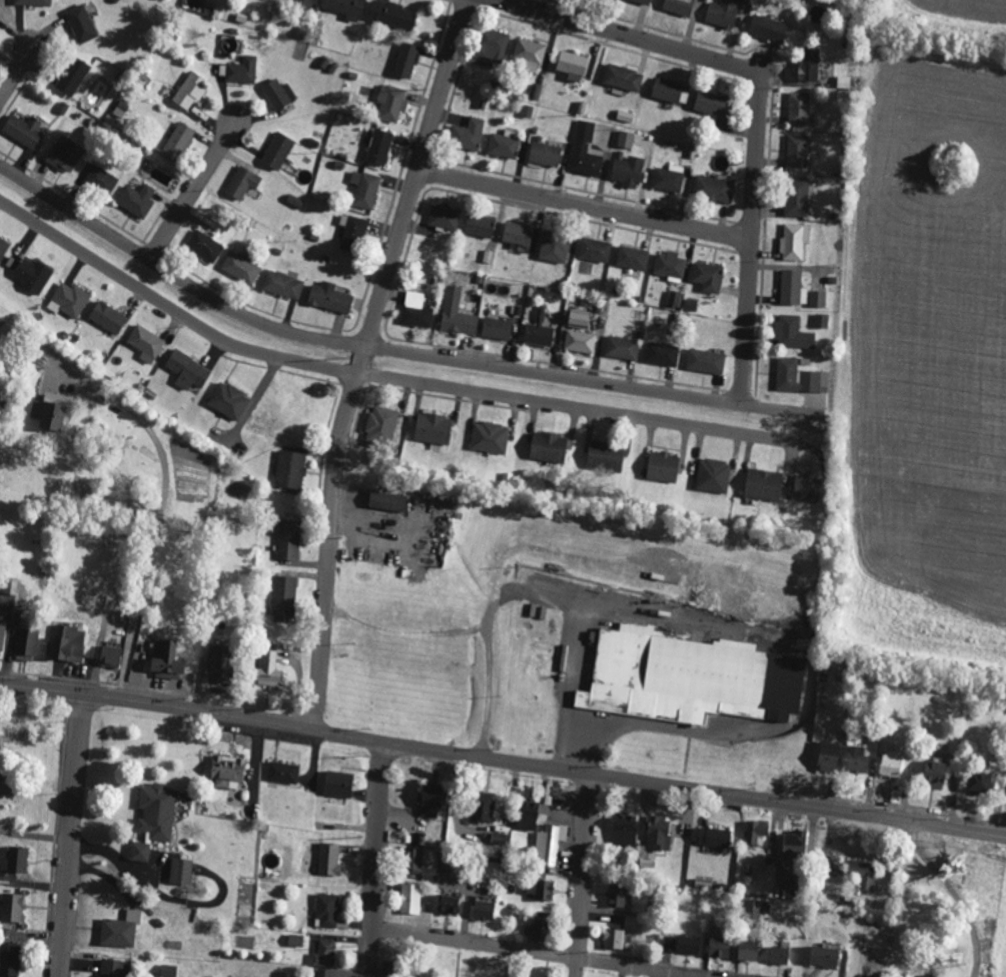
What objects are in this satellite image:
building: (642, 1)
building: (32, 2)
building: (306, 4)
building: (677, 6)
building: (345, 8)
building: (722, 12)
building: (391, 14)
building: (0, 16)
building: (80, 23)
building: (767, 28)
building: (490, 44)
building: (528, 52)
building: (406, 59)
building: (807, 64)
building: (571, 65)
road: (18, 69)
building: (242, 70)
building: (72, 76)
building: (622, 77)
building: (190, 90)
building: (669, 90)
building: (535, 92)
building: (278, 93)
building: (709, 101)
building: (391, 102)
road: (762, 107)
building: (798, 108)
building: (121, 109)
building: (23, 130)
building: (584, 130)
building: (467, 134)
building: (625, 139)
building: (177, 141)
building: (504, 143)
building: (378, 147)
building: (277, 150)
building: (796, 151)
building: (544, 154)
building: (64, 156)
building: (585, 160)
building: (627, 171)
building: (101, 179)
building: (667, 179)
building: (242, 182)
road: (198, 185)
building: (364, 188)
building: (713, 188)
building: (796, 197)
building: (136, 199)
road: (586, 205)
building: (443, 216)
building: (479, 225)
building: (351, 231)
building: (517, 233)
building: (794, 241)
building: (2, 246)
building: (204, 246)
building: (553, 247)
building: (594, 249)
building: (631, 257)
building: (669, 265)
building: (240, 267)
building: (32, 275)
building: (707, 276)
building: (282, 284)
building: (792, 288)
building: (329, 297)
building: (817, 298)
building: (673, 299)
building: (68, 300)
building: (415, 310)
building: (456, 313)
building: (107, 317)
building: (577, 318)
building: (821, 321)
building: (496, 328)
building: (538, 331)
building: (791, 332)
building: (579, 341)
building: (145, 343)
road: (369, 346)
building: (621, 347)
building: (661, 353)
road: (364, 358)
building: (705, 361)
building: (187, 370)
road: (380, 374)
building: (798, 377)
building: (228, 400)
building: (49, 411)
building: (381, 423)
building: (432, 428)
building: (489, 437)
building: (547, 447)
building: (605, 455)
building: (661, 467)
building: (290, 469)
building: (712, 475)
building: (762, 484)
building: (806, 487)
building: (386, 501)
road: (154, 533)
building: (288, 540)
building: (284, 596)
road: (540, 598)
water tower: (532, 625)
building: (2, 629)
road: (405, 633)
building: (26, 643)
building: (67, 643)
building: (109, 656)
building: (165, 659)
building: (217, 663)
building: (267, 668)
building: (688, 677)
road: (479, 753)
building: (827, 756)
building: (856, 759)
building: (889, 763)
building: (228, 772)
building: (283, 772)
building: (932, 774)
building: (977, 782)
building: (338, 784)
building: (429, 801)
building: (482, 807)
building: (156, 812)
building: (528, 814)
building: (755, 830)
road: (982, 830)
building: (624, 831)
road: (74, 833)
building: (658, 833)
building: (714, 837)
building: (499, 838)
building: (419, 839)
building: (549, 843)
building: (793, 844)
building: (139, 852)
building: (325, 858)
road: (378, 858)
building: (15, 859)
building: (417, 864)
building: (180, 871)
building: (861, 873)
road: (585, 874)
road: (947, 884)
building: (539, 889)
building: (615, 896)
building: (409, 899)
building: (447, 905)
building: (11, 908)
building: (327, 910)
building: (483, 910)
building: (752, 912)
building: (120, 930)
building: (537, 930)
building: (612, 939)
building: (295, 940)
building: (687, 945)
building: (718, 947)
building: (746, 951)
road: (542, 952)
building: (323, 953)
building: (778, 955)
building: (822, 957)
building: (8, 963)
building: (111, 968)
building: (168, 971)
building: (322, 973)

